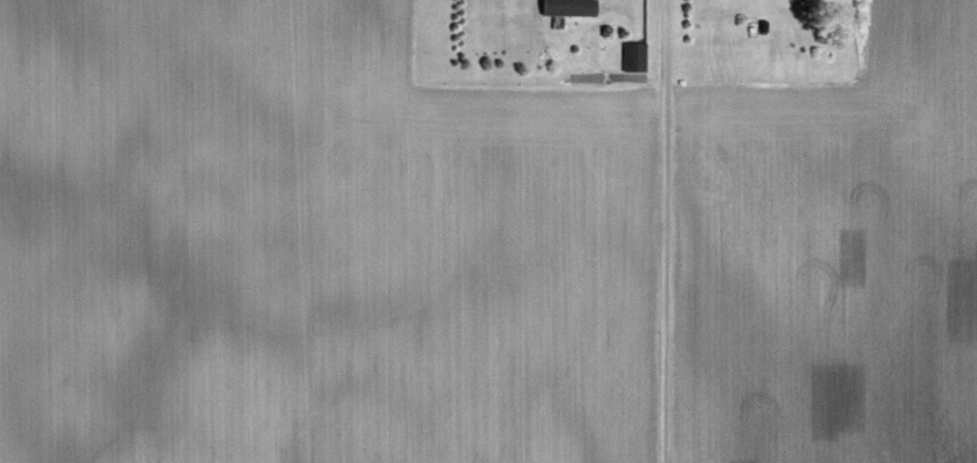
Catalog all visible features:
road: (617, 0)
building: (571, 7)
building: (637, 57)
road: (666, 231)

